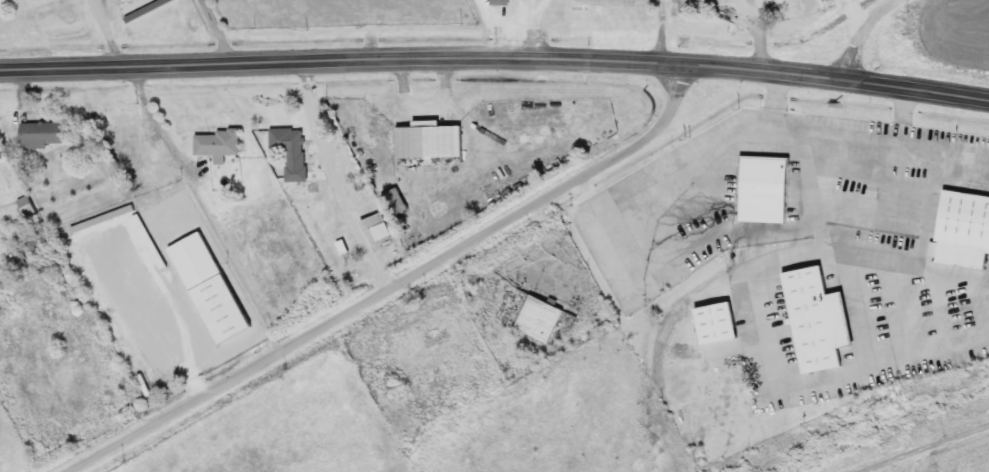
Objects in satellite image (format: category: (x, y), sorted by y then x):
building: (500, 2)
building: (148, 9)
road: (218, 30)
road: (858, 33)
road: (495, 58)
building: (43, 133)
building: (431, 141)
building: (132, 144)
building: (219, 144)
building: (289, 145)
building: (1, 155)
building: (764, 189)
building: (395, 202)
building: (967, 229)
road: (393, 284)
building: (210, 287)
building: (540, 319)
building: (819, 319)
building: (716, 322)
road: (928, 450)

